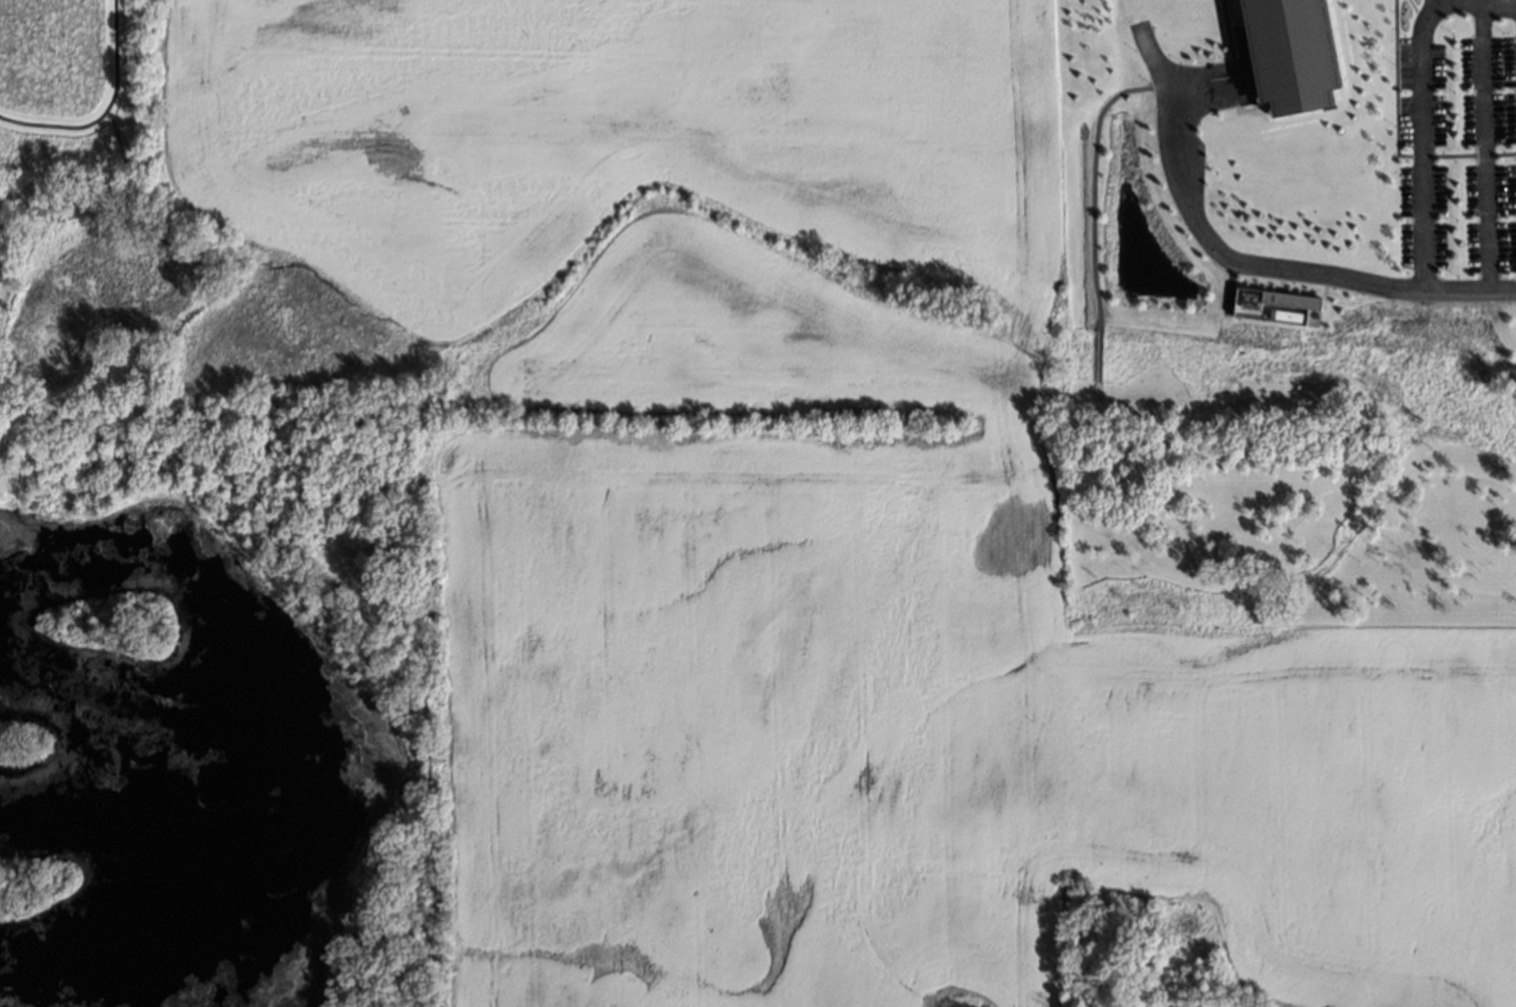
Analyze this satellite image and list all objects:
road: (1492, 4)
building: (1285, 46)
road: (104, 110)
road: (1421, 141)
road: (1482, 145)
road: (1283, 267)
crop: (789, 526)
building: (1174, 1006)

